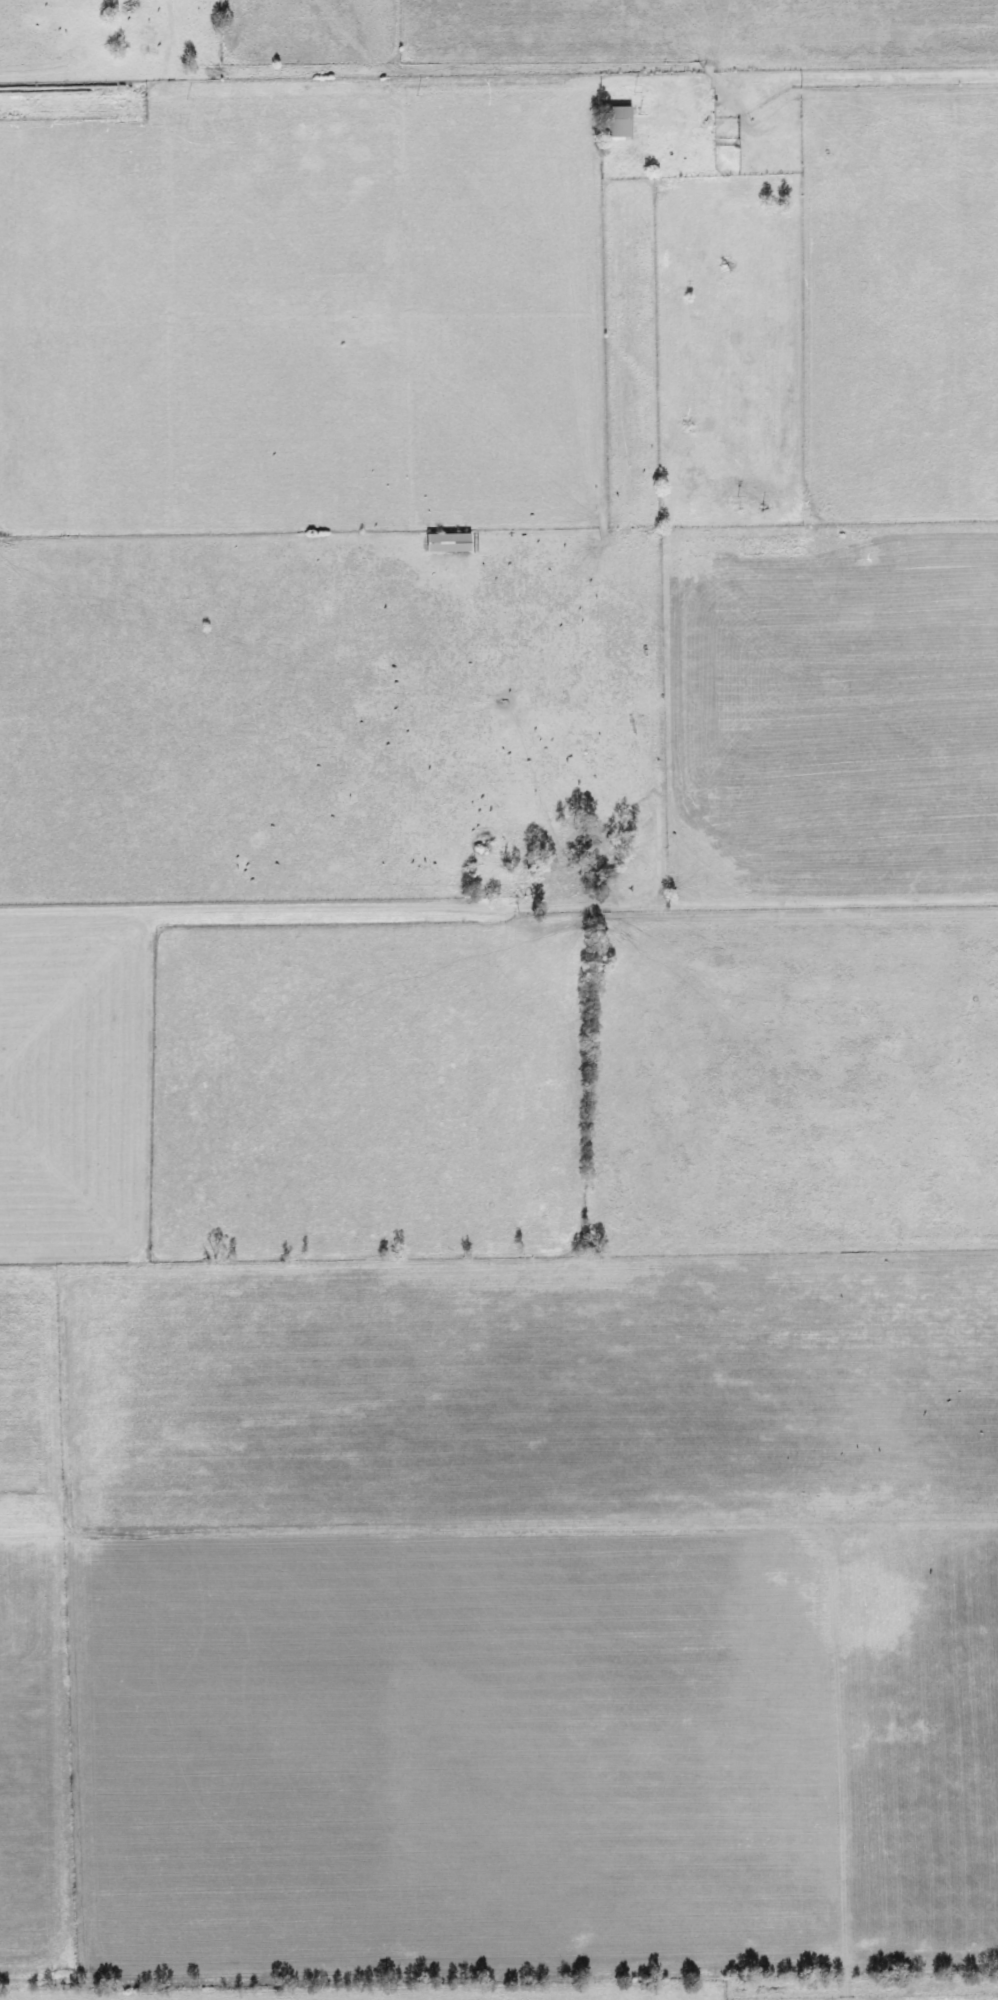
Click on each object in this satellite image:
building: (606, 123)
building: (439, 543)

